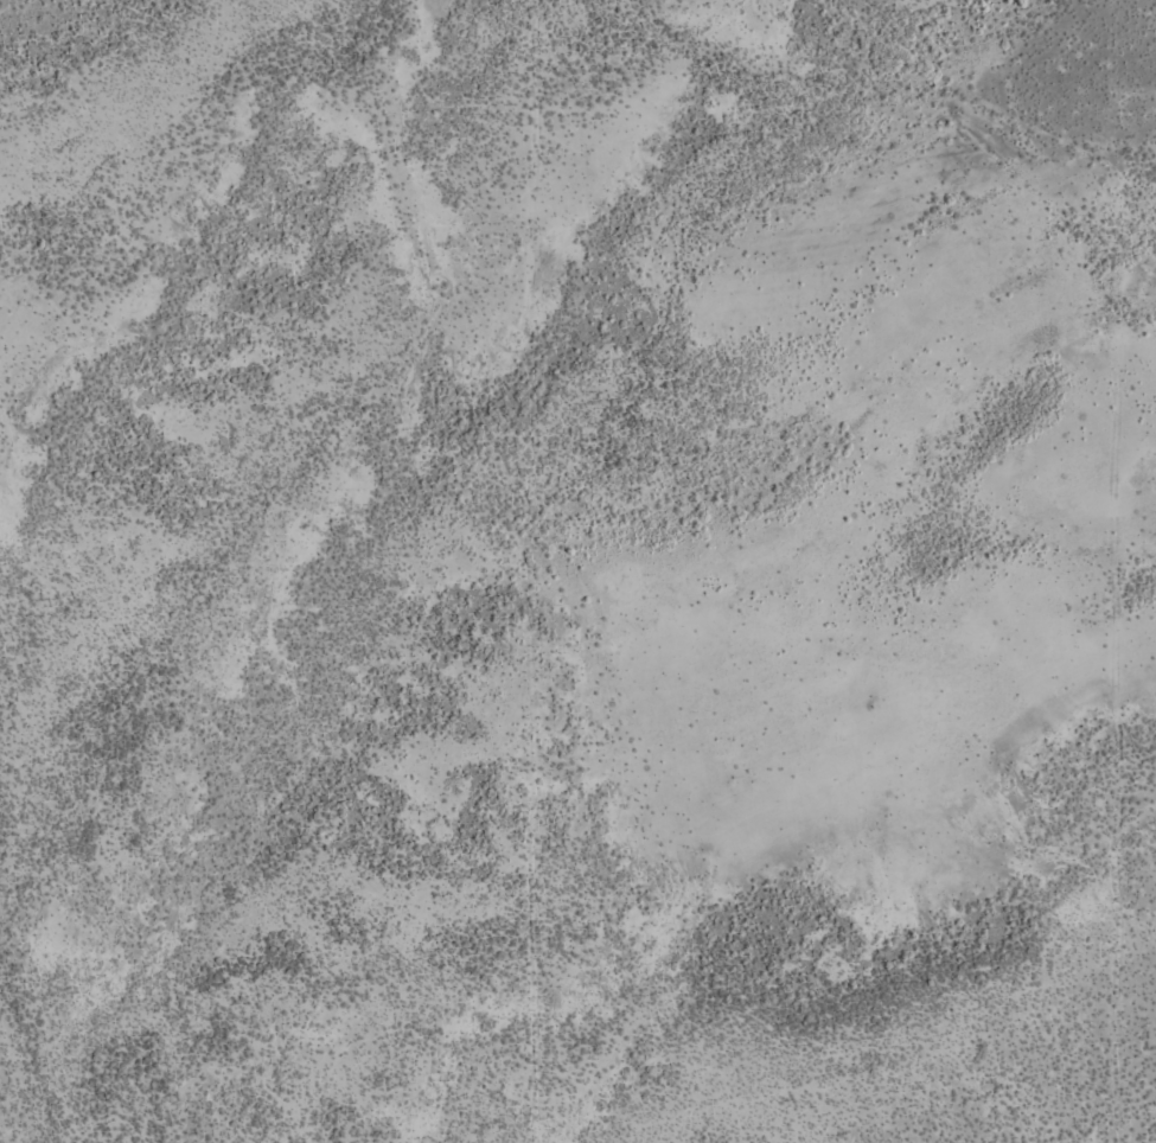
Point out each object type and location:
road: (1021, 60)

